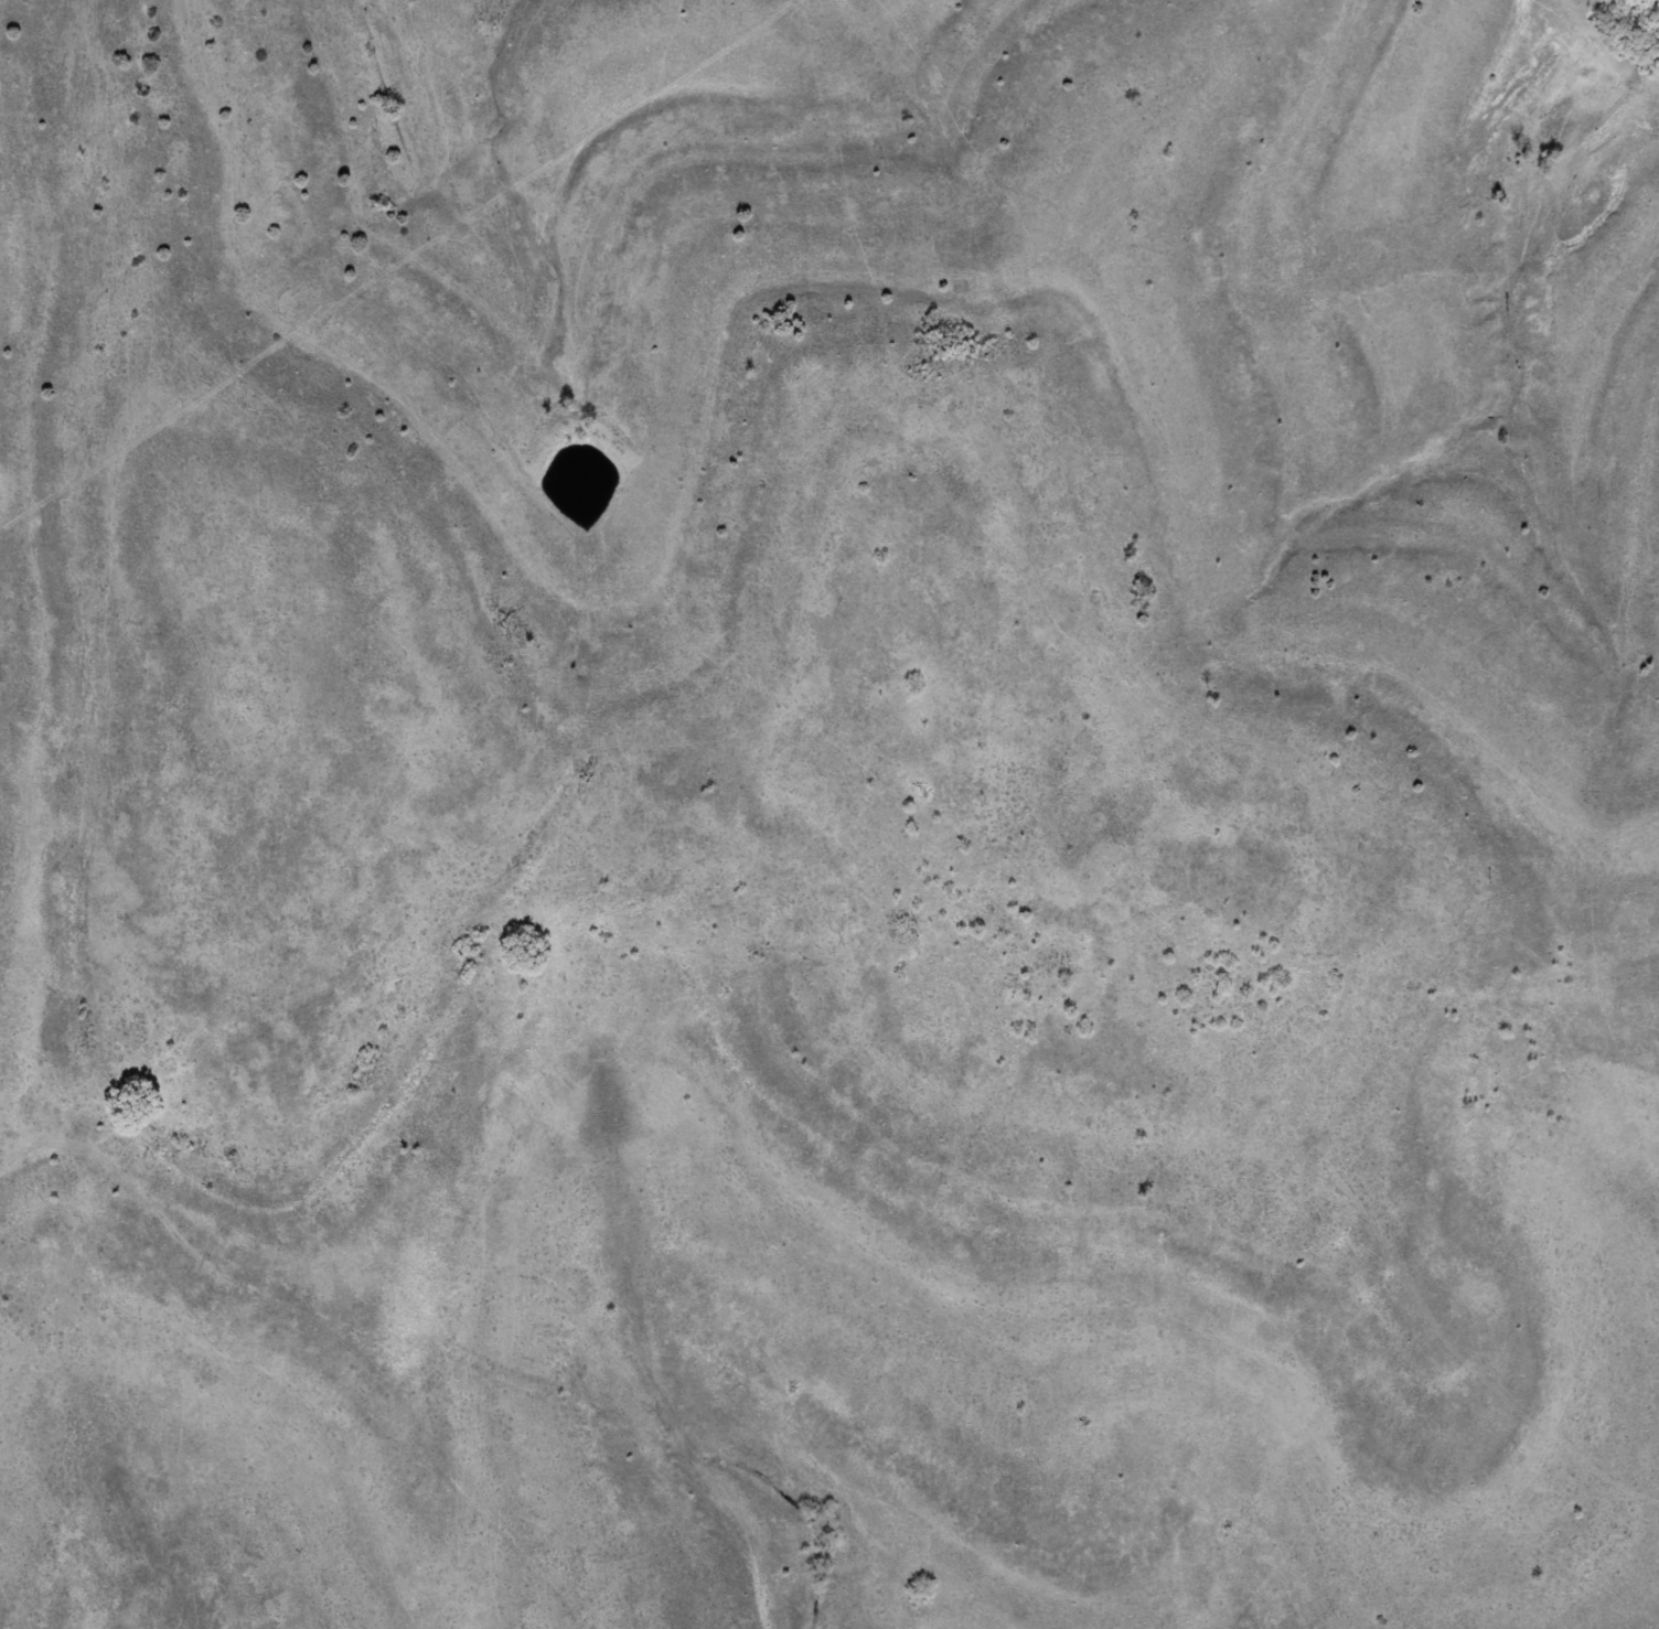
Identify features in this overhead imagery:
railway: (1633, 17)

